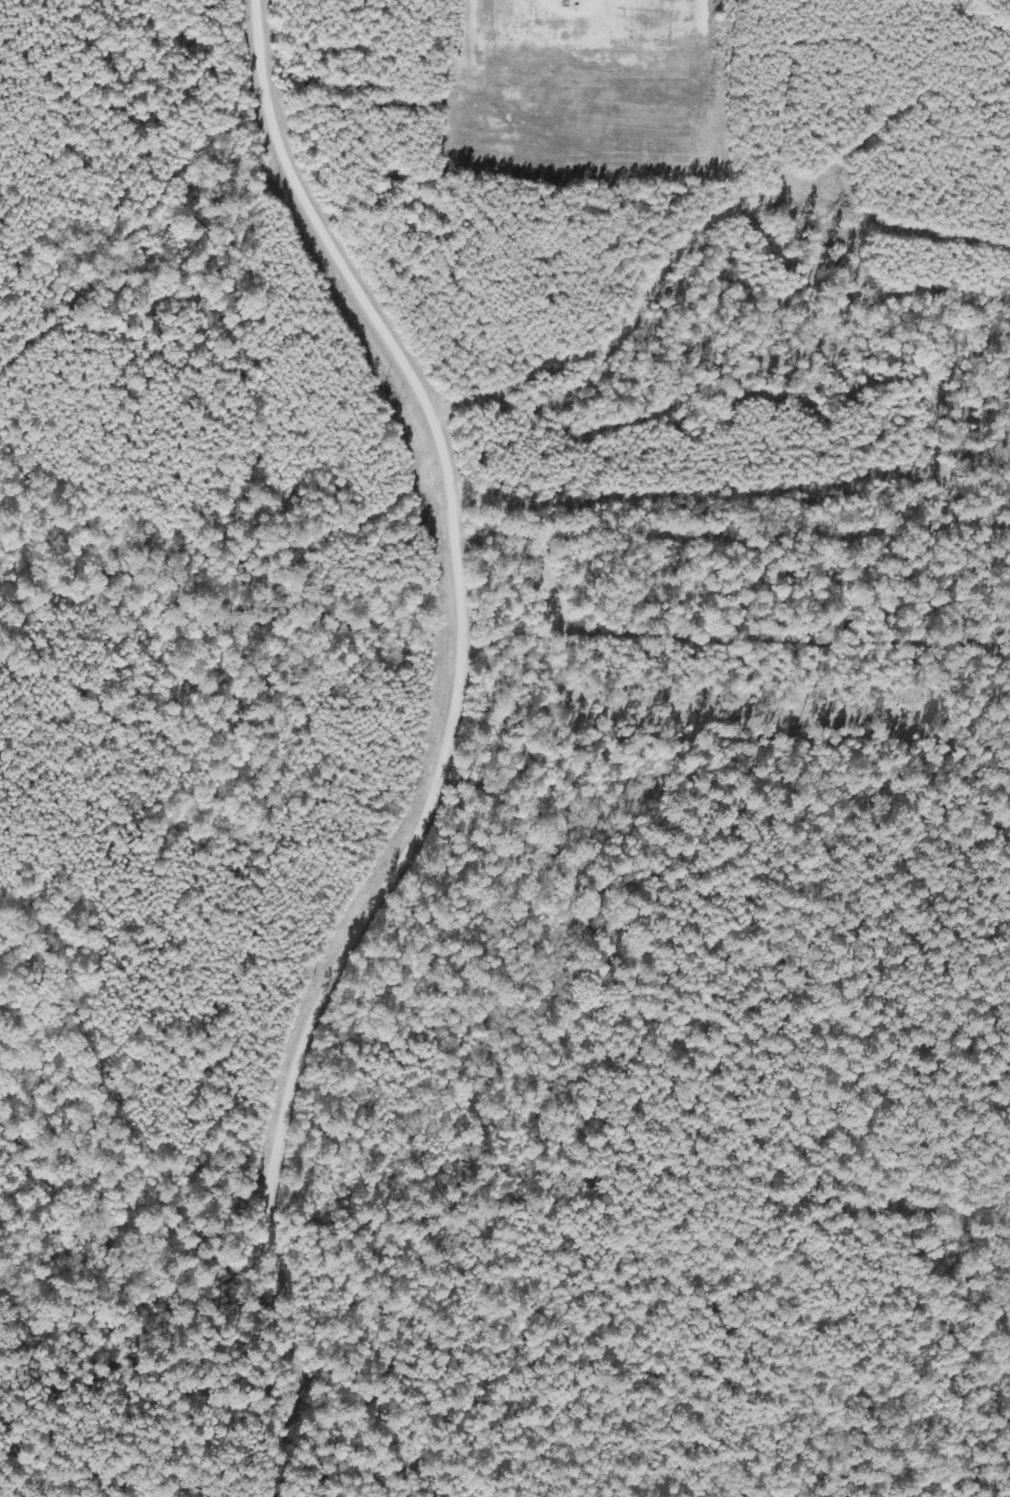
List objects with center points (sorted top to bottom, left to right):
road: (334, 1385)

